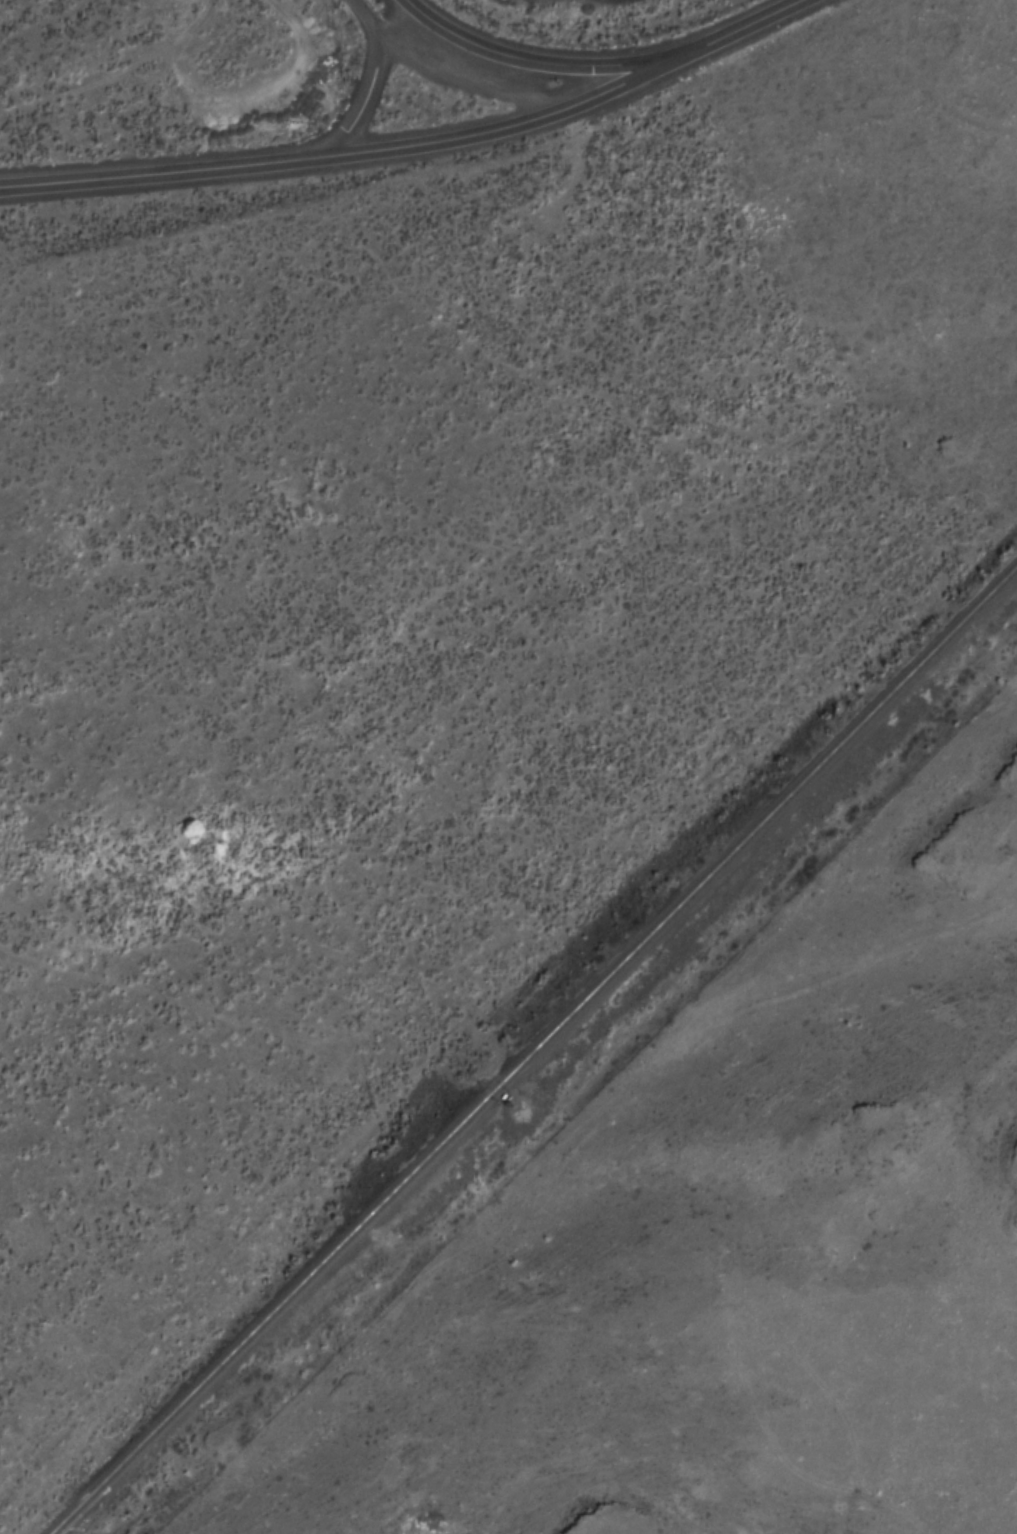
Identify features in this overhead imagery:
road: (548, 64)
road: (114, 73)
road: (358, 75)
road: (464, 83)
road: (433, 143)
road: (18, 187)
road: (18, 188)
railway: (545, 1057)

